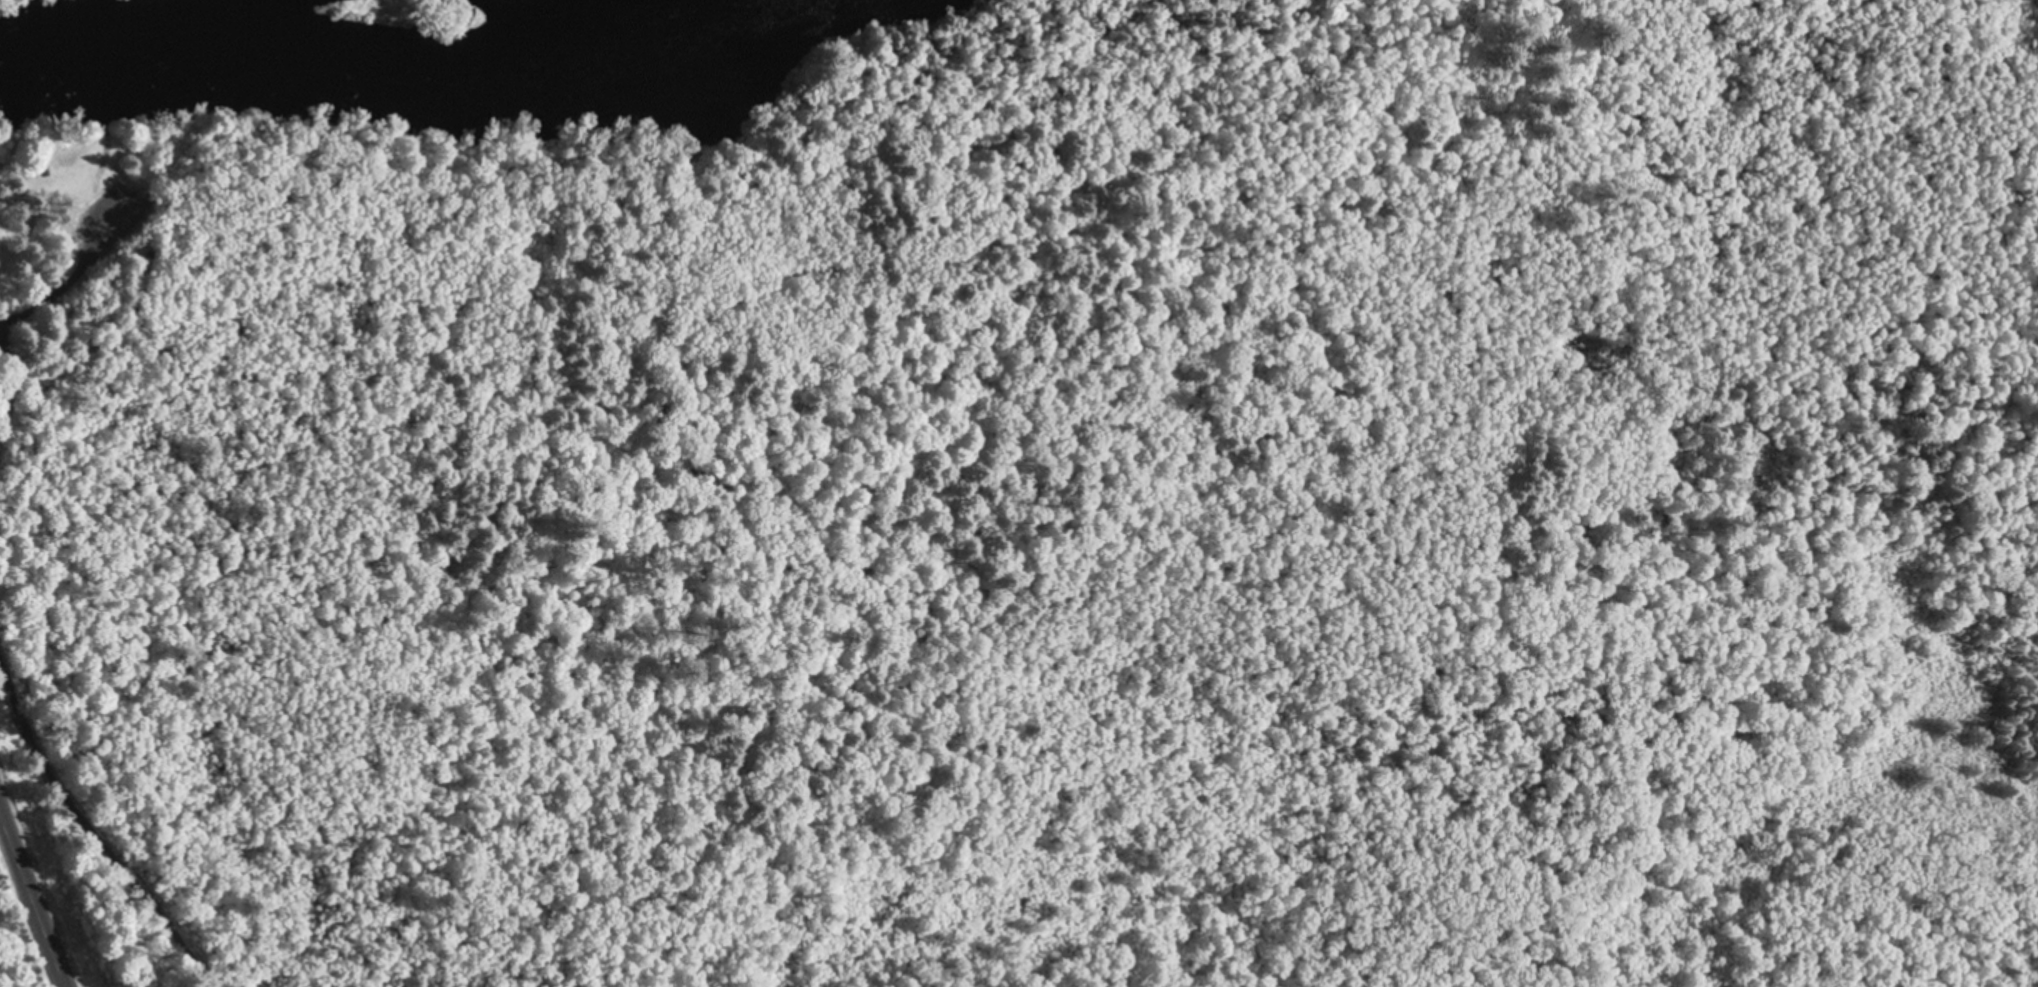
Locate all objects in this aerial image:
river: (392, 72)
road: (31, 901)

